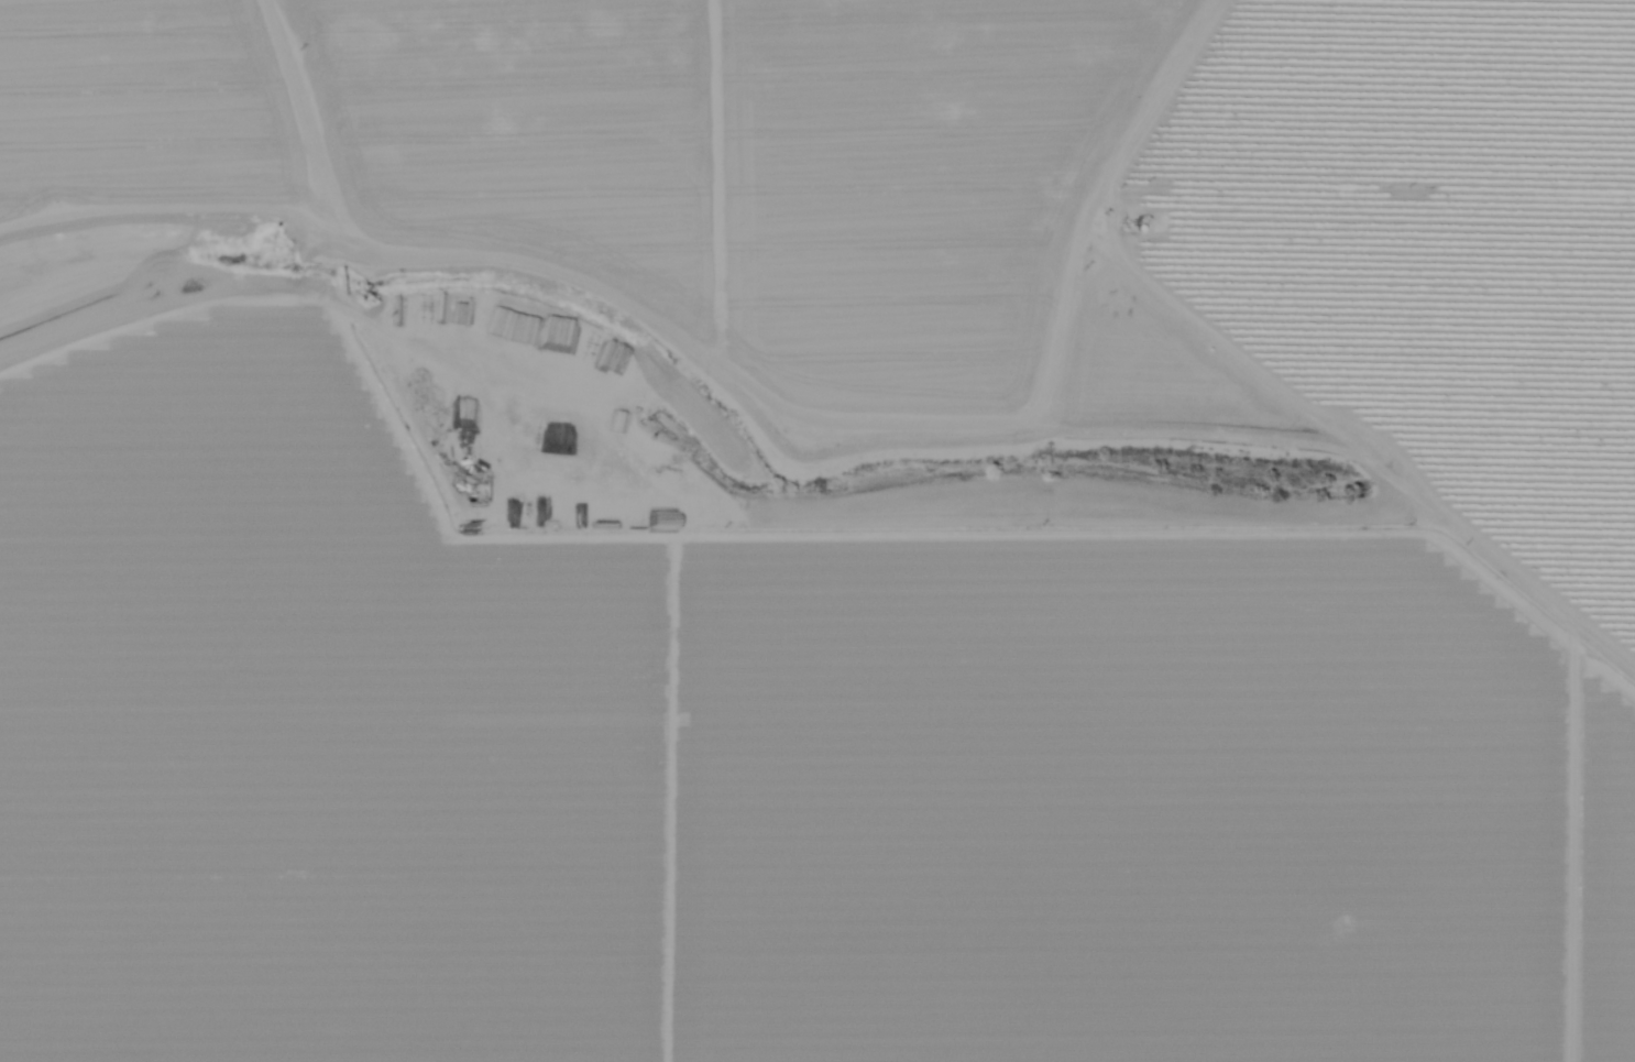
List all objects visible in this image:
crop: (567, 110)
road: (321, 119)
building: (497, 321)
road: (739, 377)
road: (1383, 441)
crop: (758, 669)

